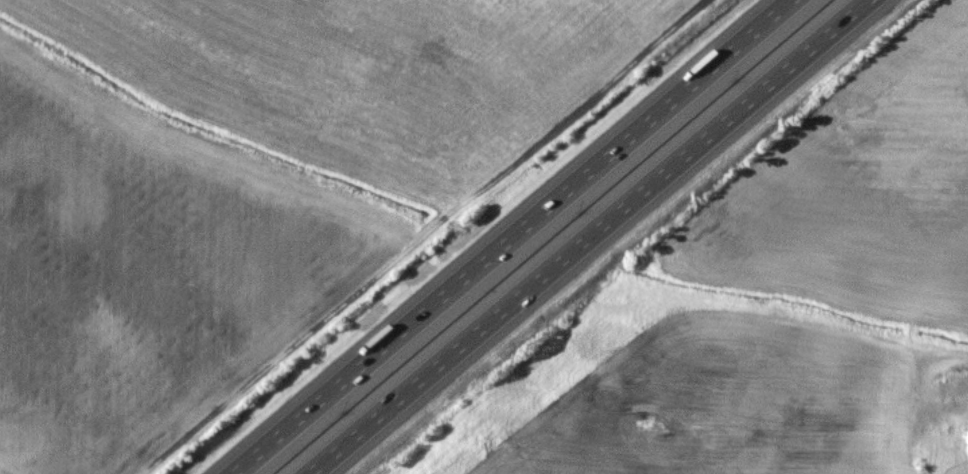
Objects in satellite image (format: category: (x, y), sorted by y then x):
road: (511, 237)
road: (588, 237)

